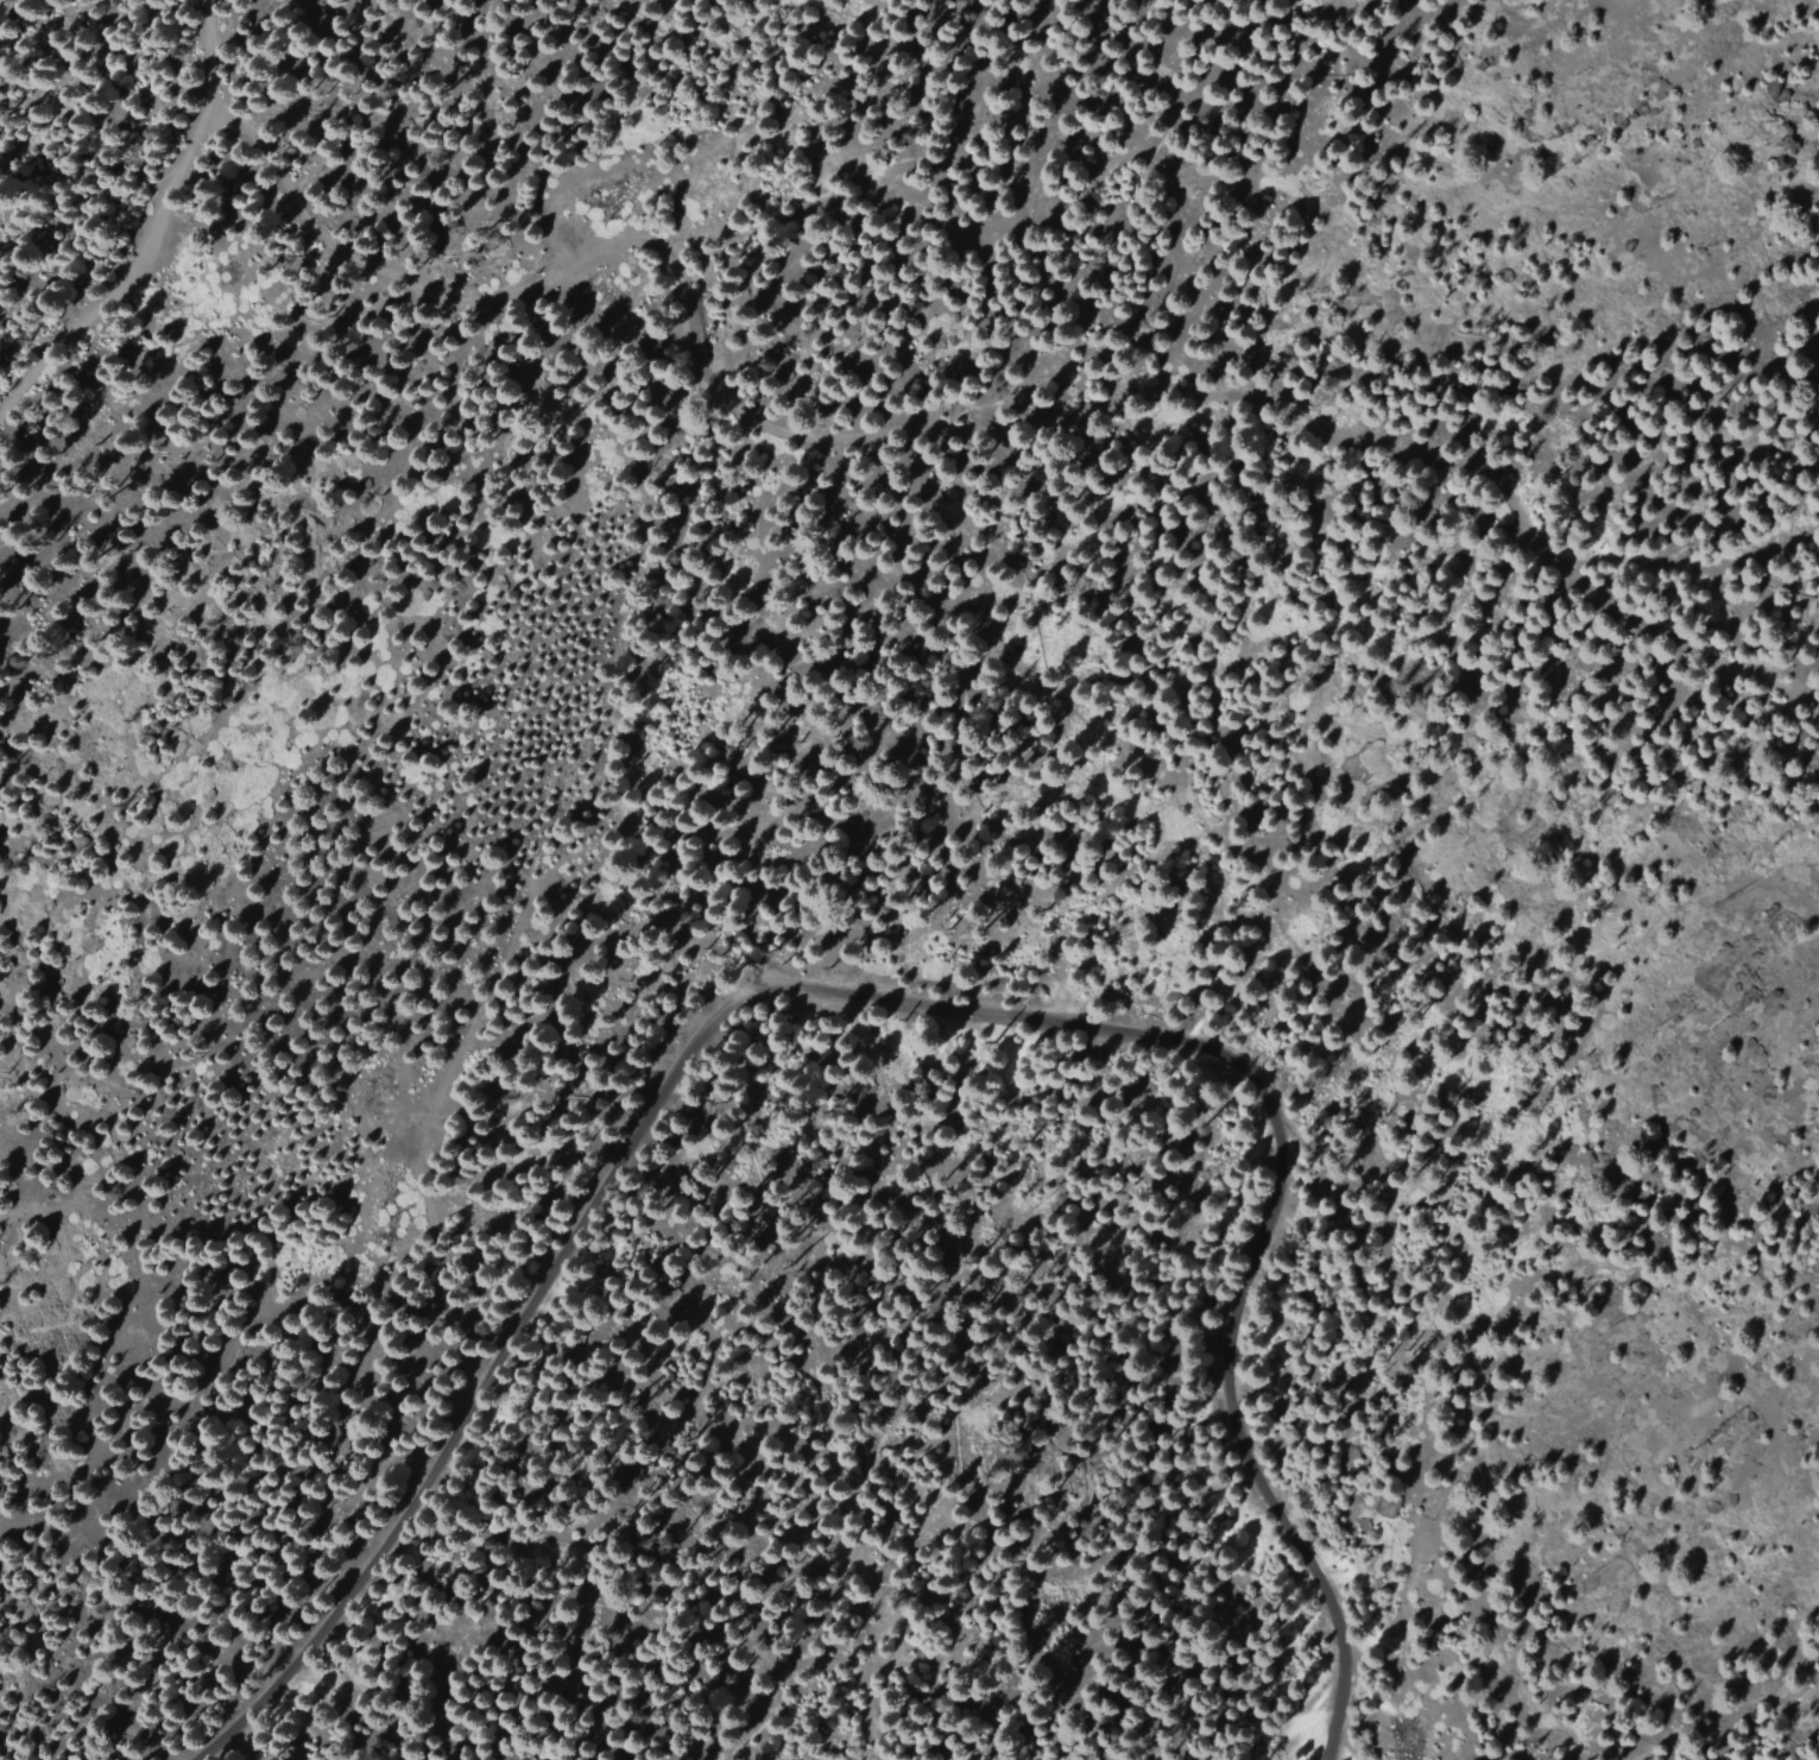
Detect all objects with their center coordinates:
road: (171, 259)
road: (893, 1007)

